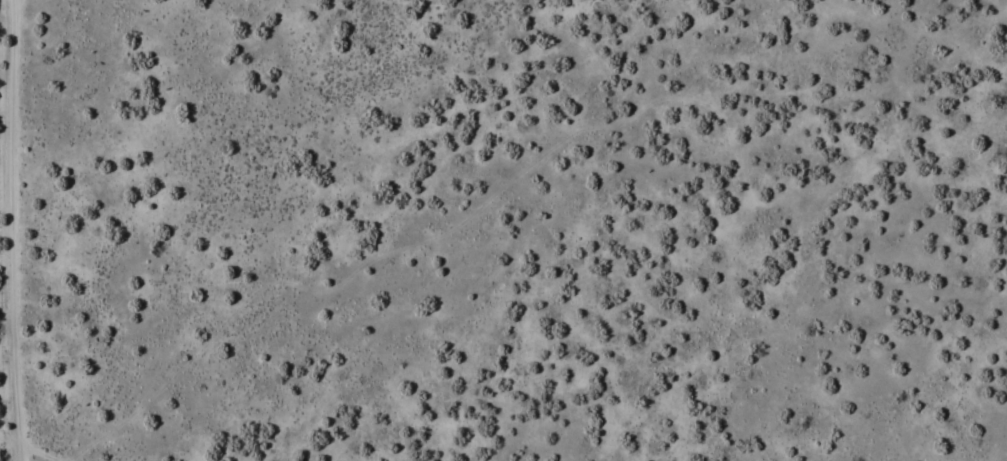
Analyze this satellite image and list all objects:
road: (9, 230)
road: (9, 441)
road: (37, 452)

